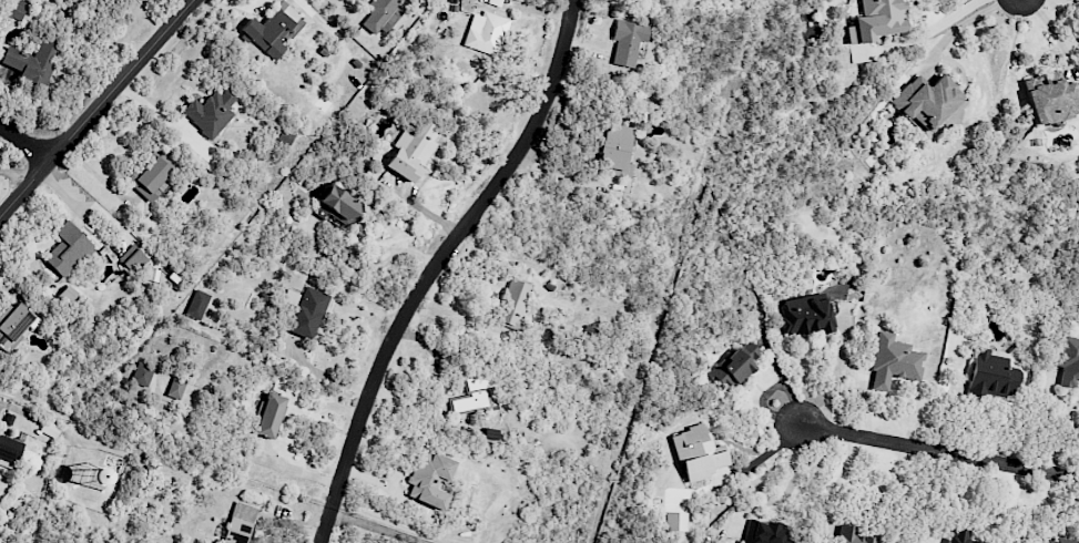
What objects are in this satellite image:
road: (348, 4)
building: (16, 9)
building: (378, 13)
building: (876, 21)
road: (957, 27)
building: (272, 30)
building: (485, 32)
road: (922, 32)
road: (1057, 37)
building: (628, 41)
building: (32, 61)
building: (1050, 99)
building: (926, 101)
road: (96, 109)
building: (211, 112)
road: (24, 143)
building: (413, 150)
building: (615, 150)
building: (150, 178)
building: (338, 204)
building: (68, 248)
building: (132, 258)
road: (437, 265)
road: (366, 267)
building: (513, 304)
building: (197, 305)
building: (308, 313)
building: (806, 315)
building: (14, 322)
building: (1069, 361)
building: (893, 362)
building: (735, 365)
building: (142, 373)
building: (993, 376)
building: (175, 387)
building: (474, 393)
building: (268, 416)
road: (936, 449)
building: (9, 451)
building: (699, 453)
building: (429, 478)
road: (838, 483)
building: (674, 521)
building: (240, 523)
road: (380, 525)
building: (763, 532)
building: (854, 535)
building: (959, 535)
building: (1055, 540)

